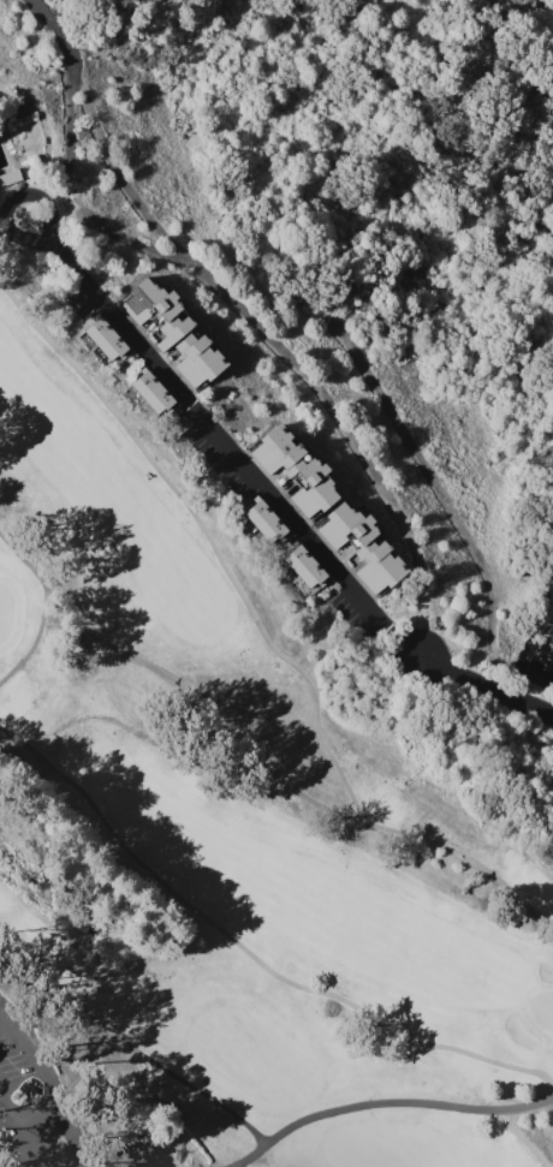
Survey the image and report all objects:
road: (67, 102)
road: (112, 165)
building: (10, 177)
road: (22, 236)
building: (154, 310)
building: (155, 316)
building: (103, 338)
road: (297, 356)
building: (196, 361)
building: (149, 392)
building: (293, 469)
road: (278, 505)
building: (263, 520)
building: (374, 547)
building: (303, 571)
park: (227, 841)
road: (34, 1061)
road: (10, 1106)
road: (38, 1115)
road: (70, 1137)
road: (32, 1144)

